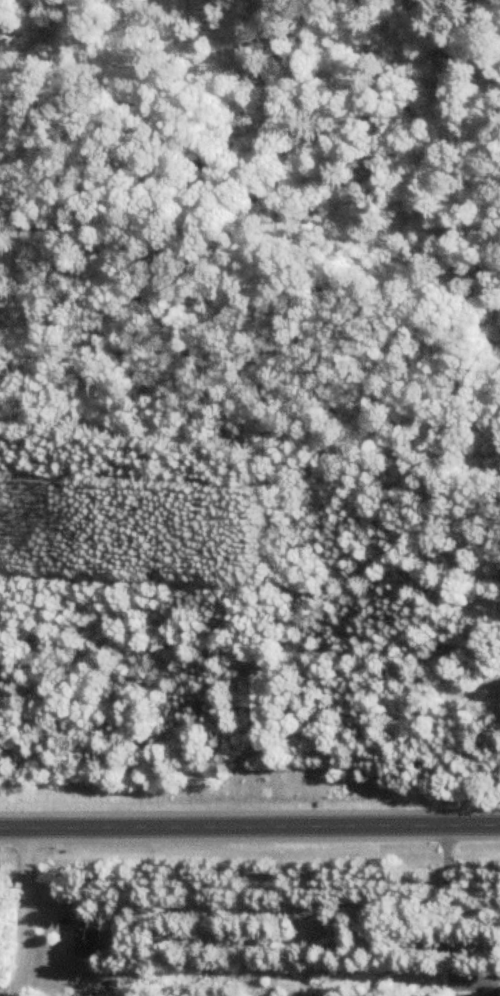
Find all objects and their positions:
road: (249, 822)
road: (442, 901)
road: (19, 911)
building: (89, 935)
building: (480, 994)

